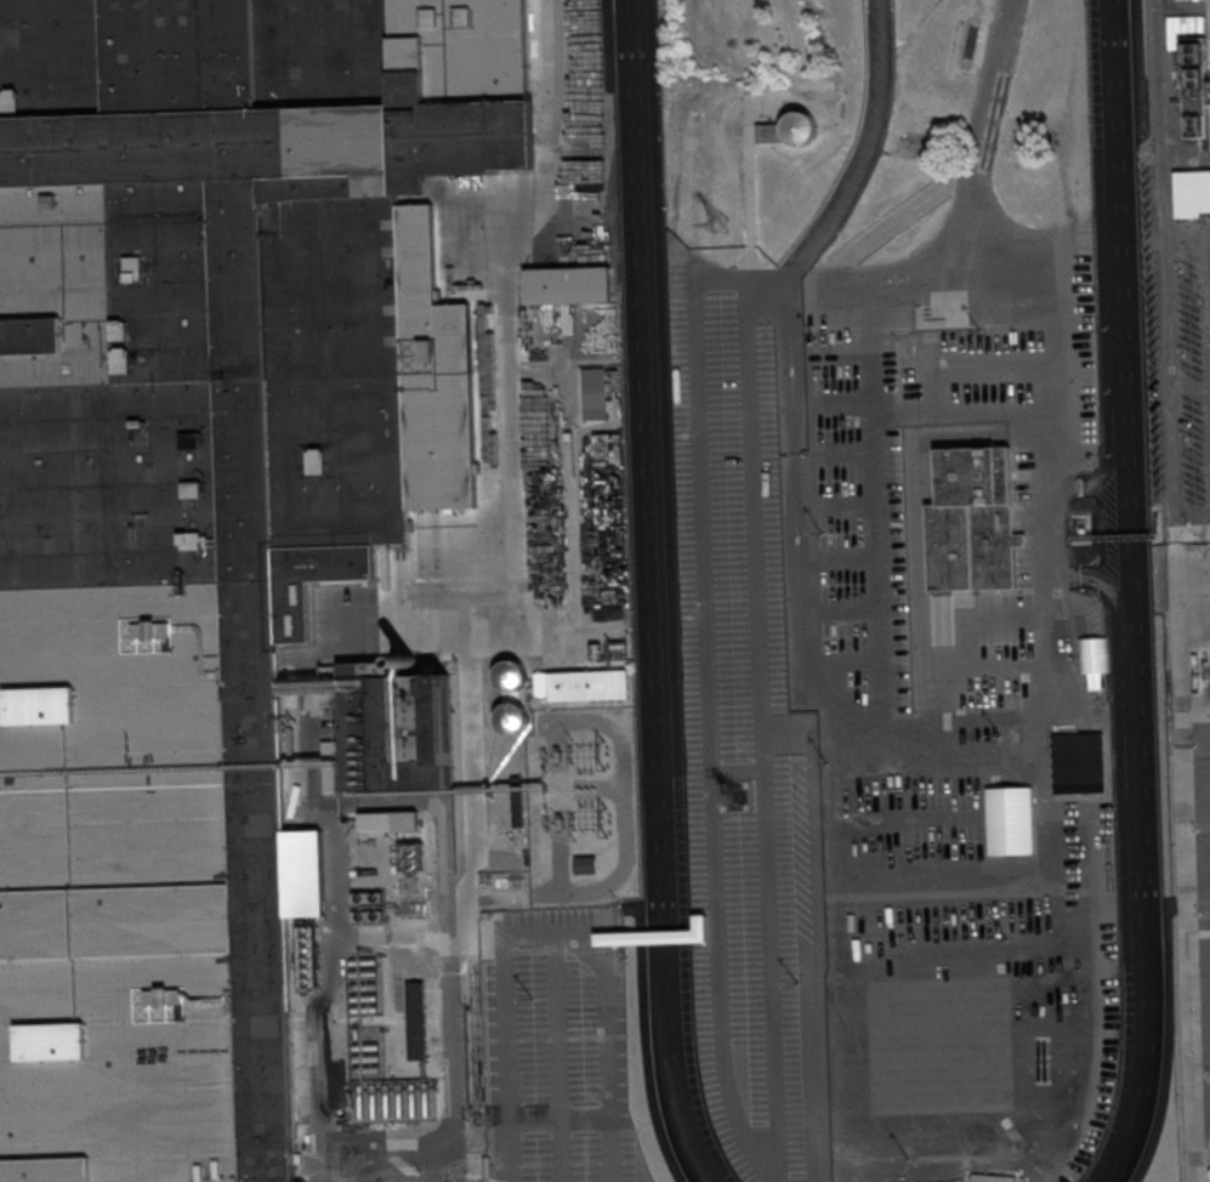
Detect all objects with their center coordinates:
building: (1182, 0)
building: (1195, 103)
road: (578, 125)
building: (788, 129)
road: (865, 147)
building: (1192, 194)
power tower: (721, 225)
road: (1168, 258)
road: (1208, 261)
building: (567, 285)
building: (505, 353)
road: (1108, 458)
road: (1193, 517)
building: (206, 519)
building: (972, 521)
road: (1176, 530)
raceway: (649, 593)
raceway: (1132, 593)
road: (1113, 601)
road: (1044, 632)
building: (511, 675)
building: (512, 718)
road: (1195, 720)
power tower: (734, 794)
power substation: (584, 807)
road: (1185, 820)
building: (391, 823)
building: (413, 856)
building: (586, 865)
road: (561, 866)
building: (409, 904)
road: (458, 905)
building: (367, 908)
road: (553, 933)
building: (487, 947)
building: (417, 1021)
railway: (473, 1040)
parking lot: (559, 1046)
road: (558, 1057)
road: (1202, 1098)
road: (1193, 1141)
building: (394, 1165)

